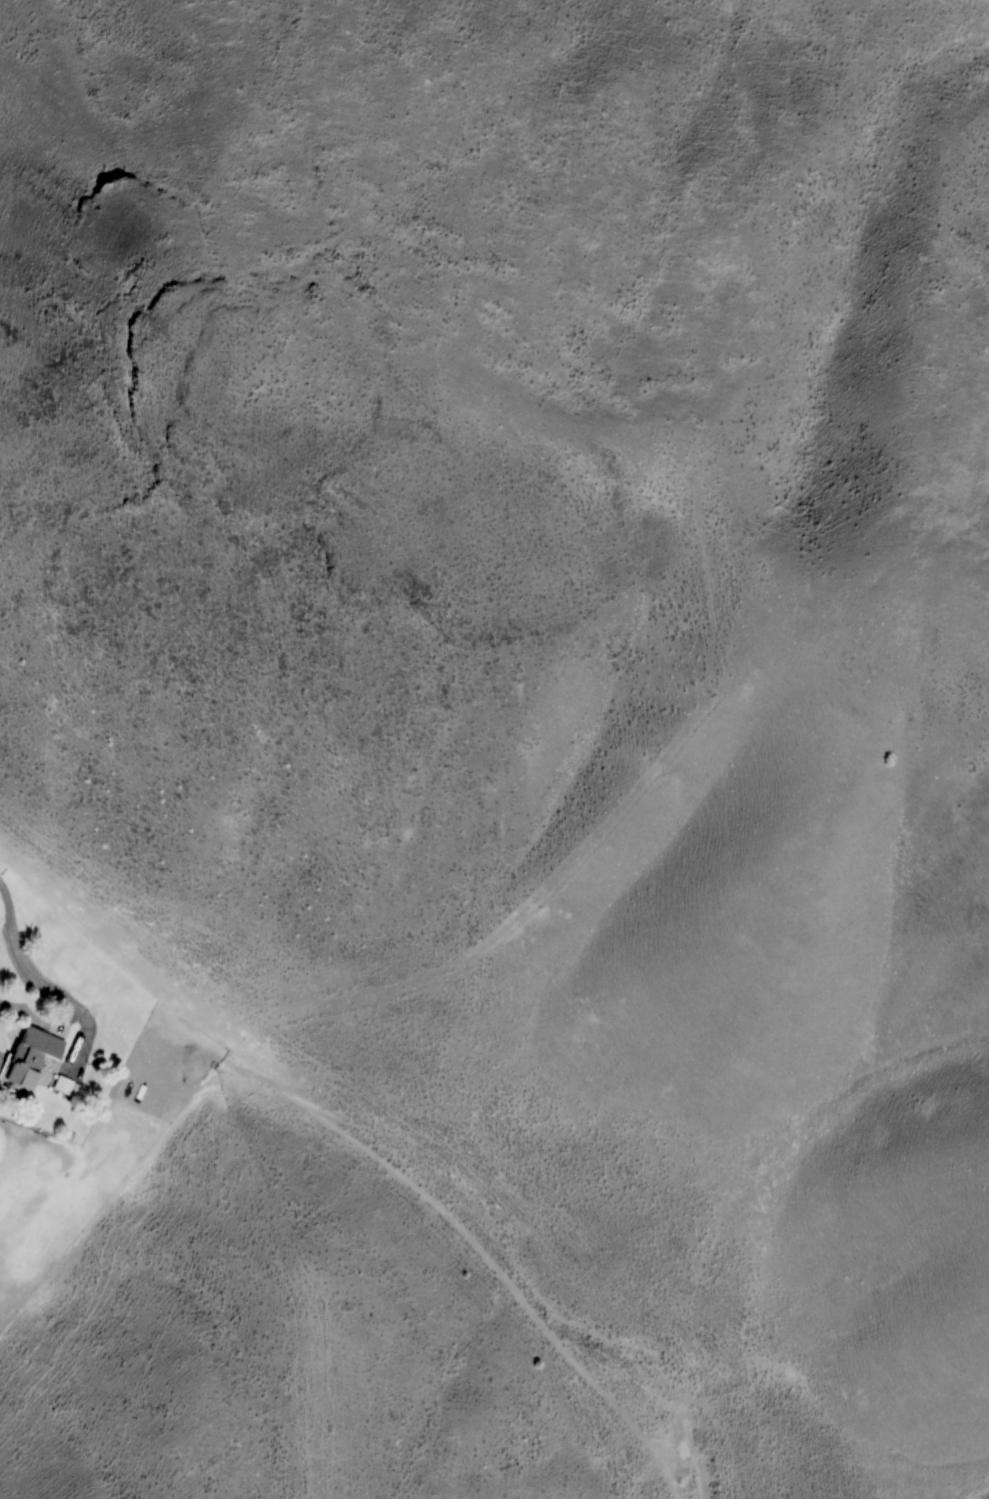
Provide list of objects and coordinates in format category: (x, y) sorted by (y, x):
building: (32, 1060)

